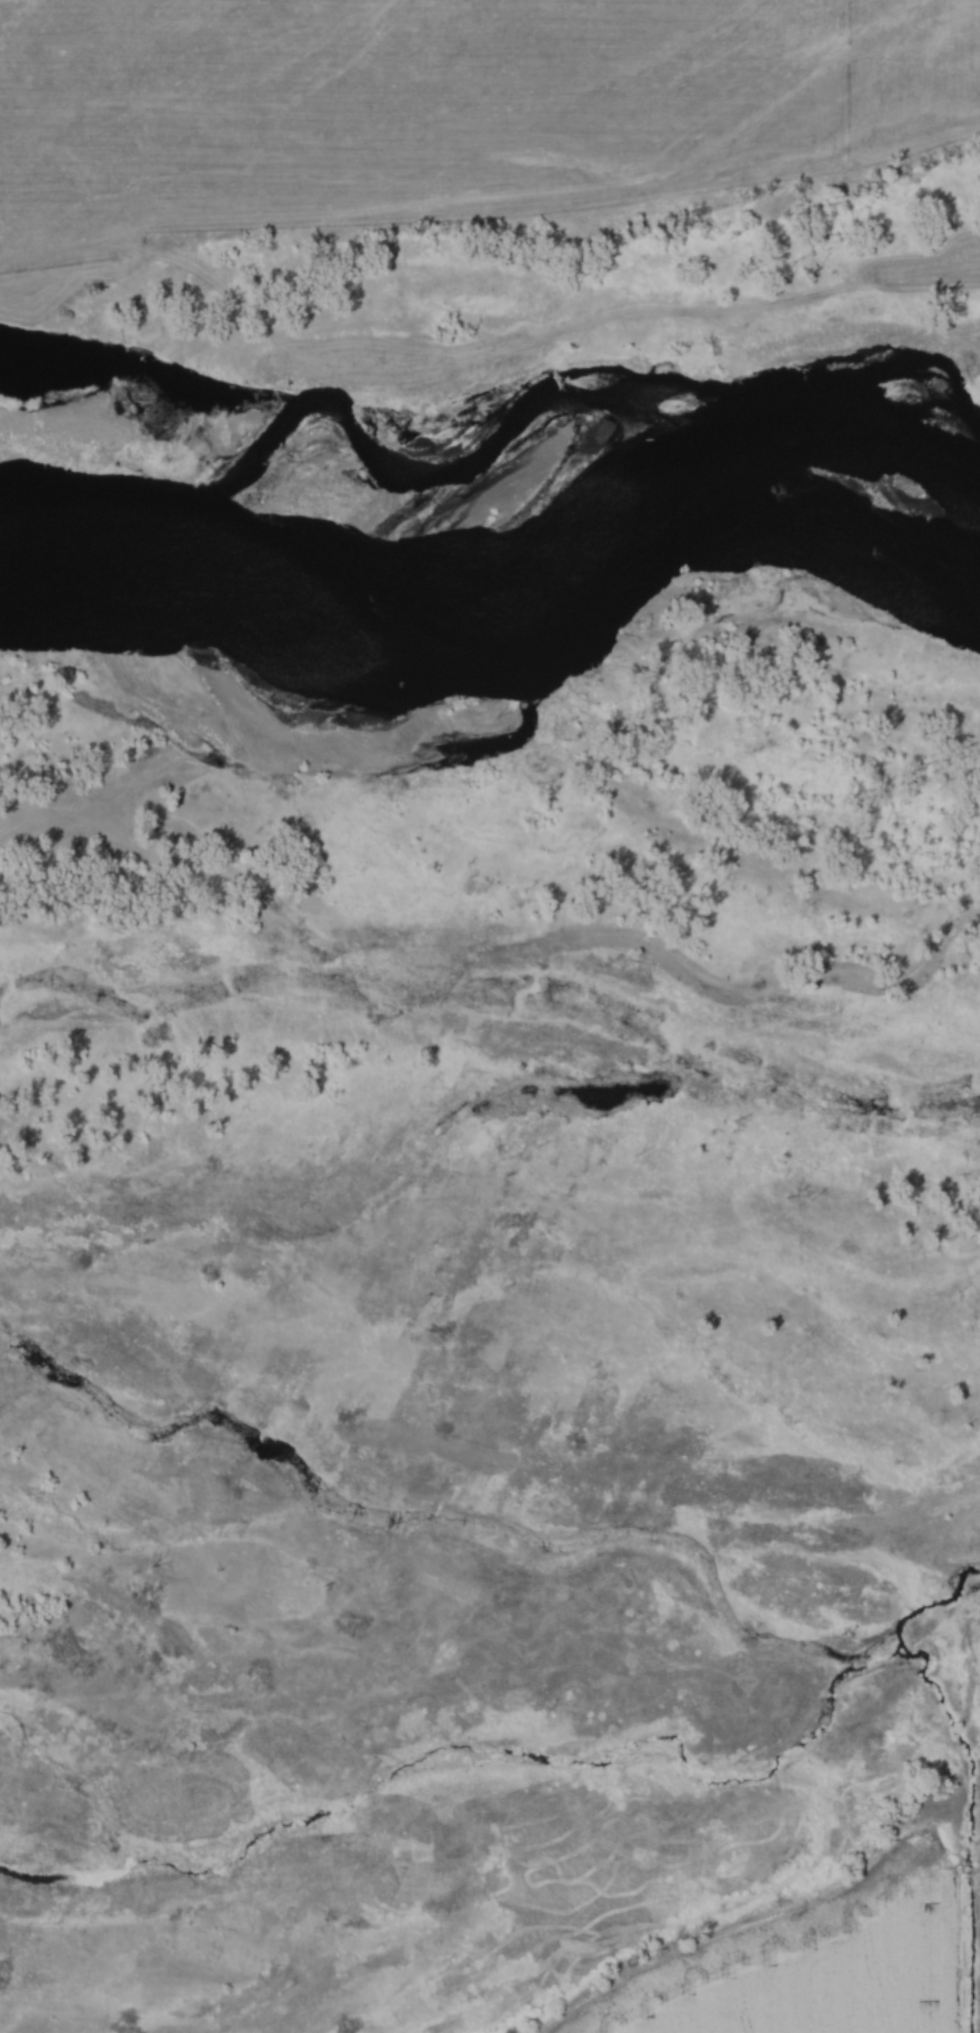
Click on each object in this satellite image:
river: (533, 603)

